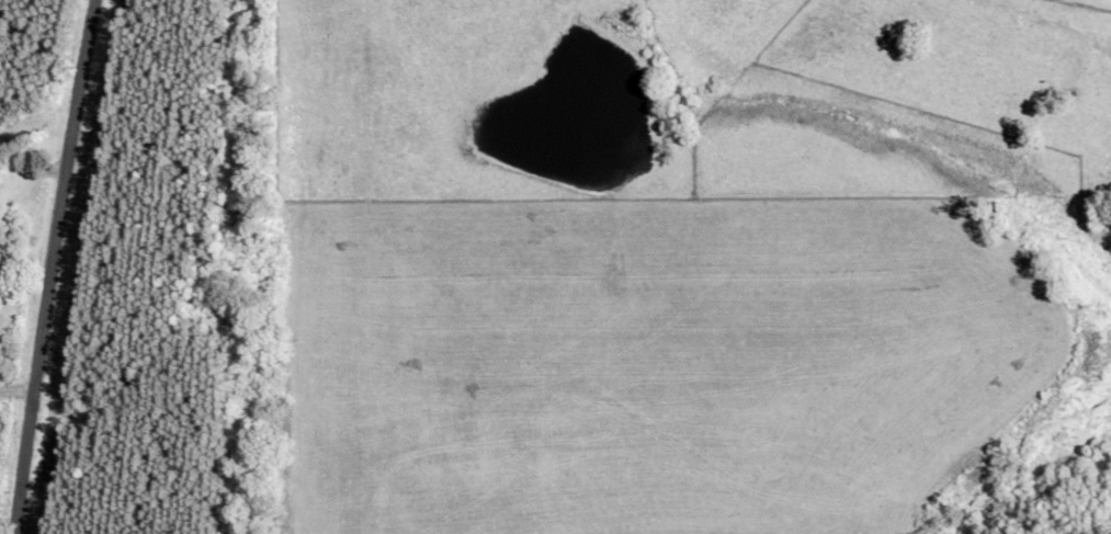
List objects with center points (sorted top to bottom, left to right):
road: (933, 46)
road: (52, 266)

